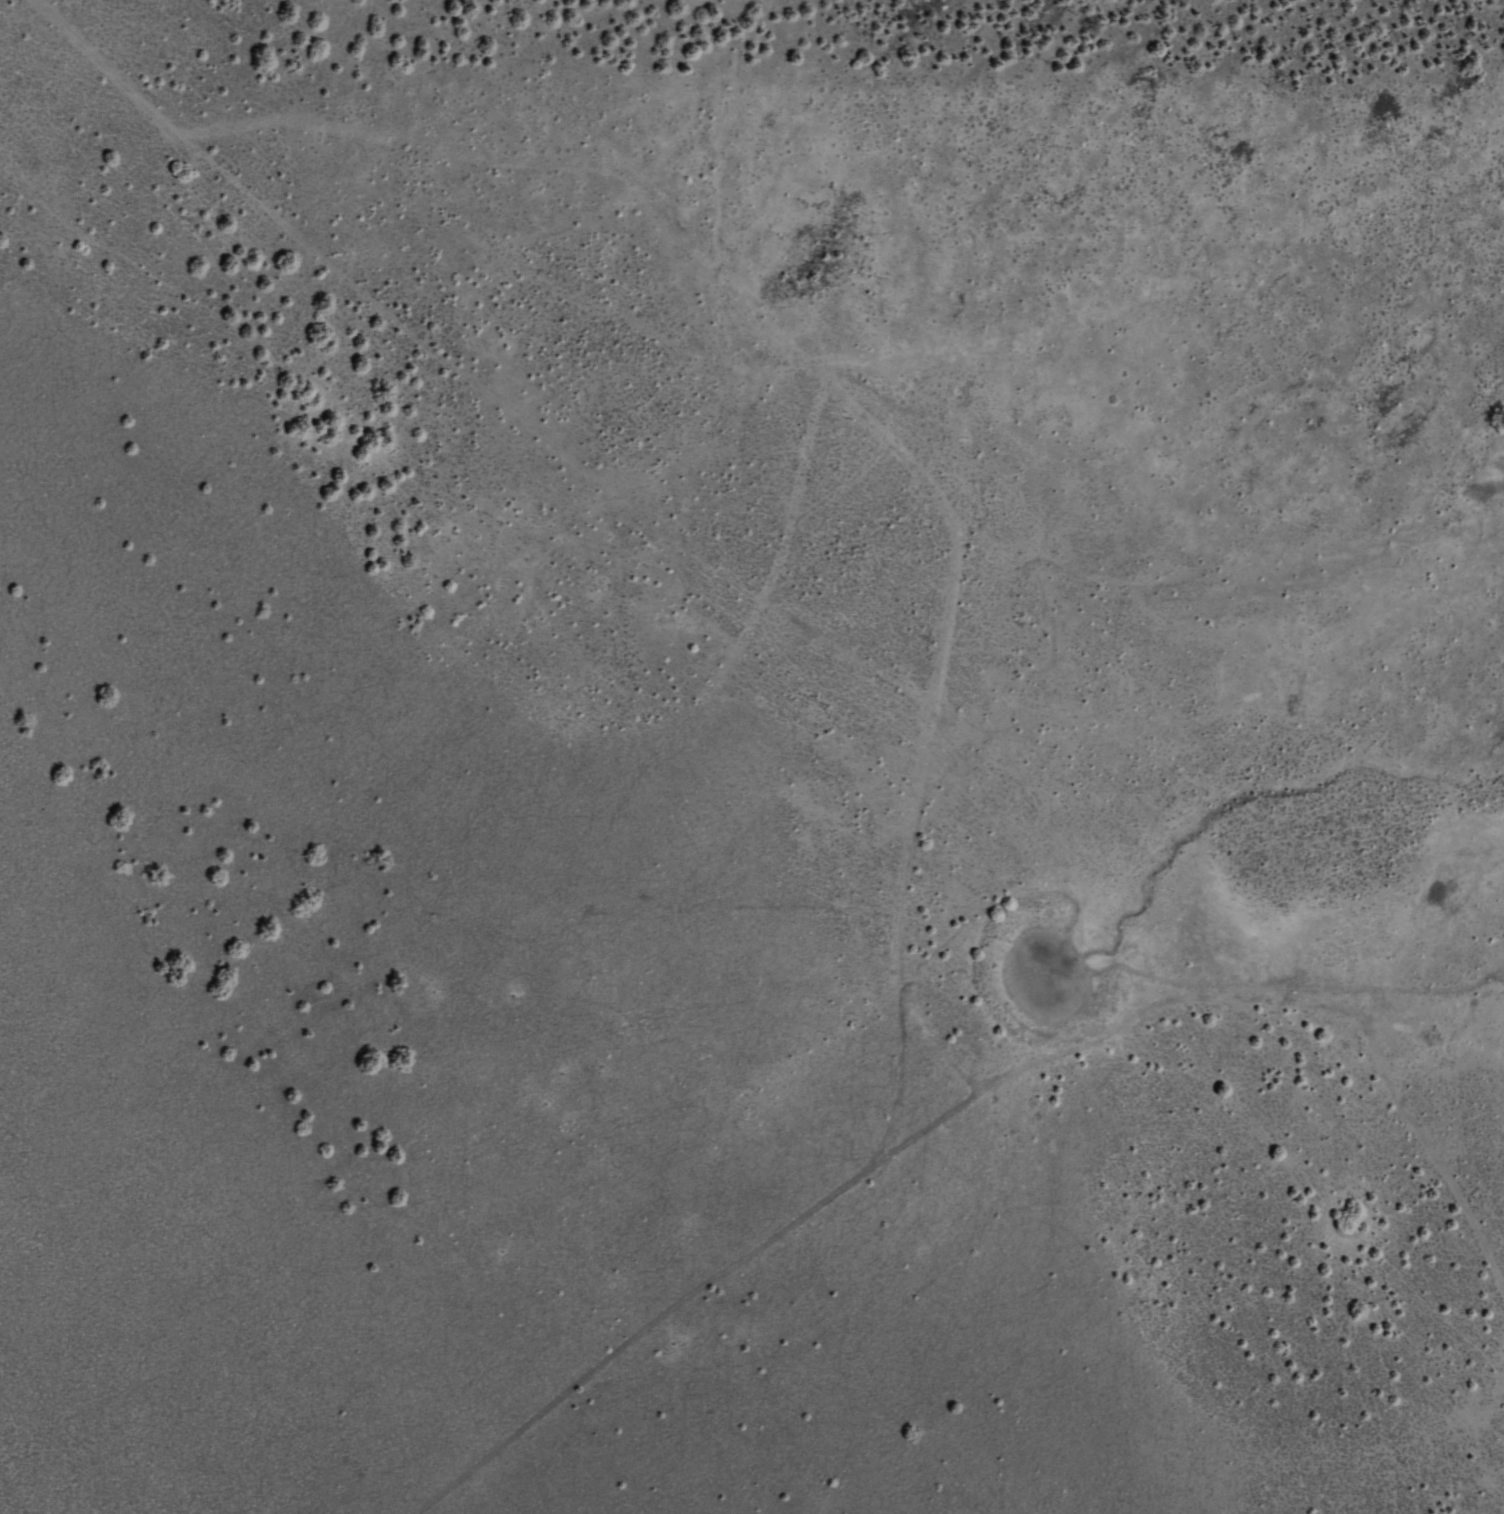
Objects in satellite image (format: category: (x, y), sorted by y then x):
road: (824, 638)
road: (865, 1169)

